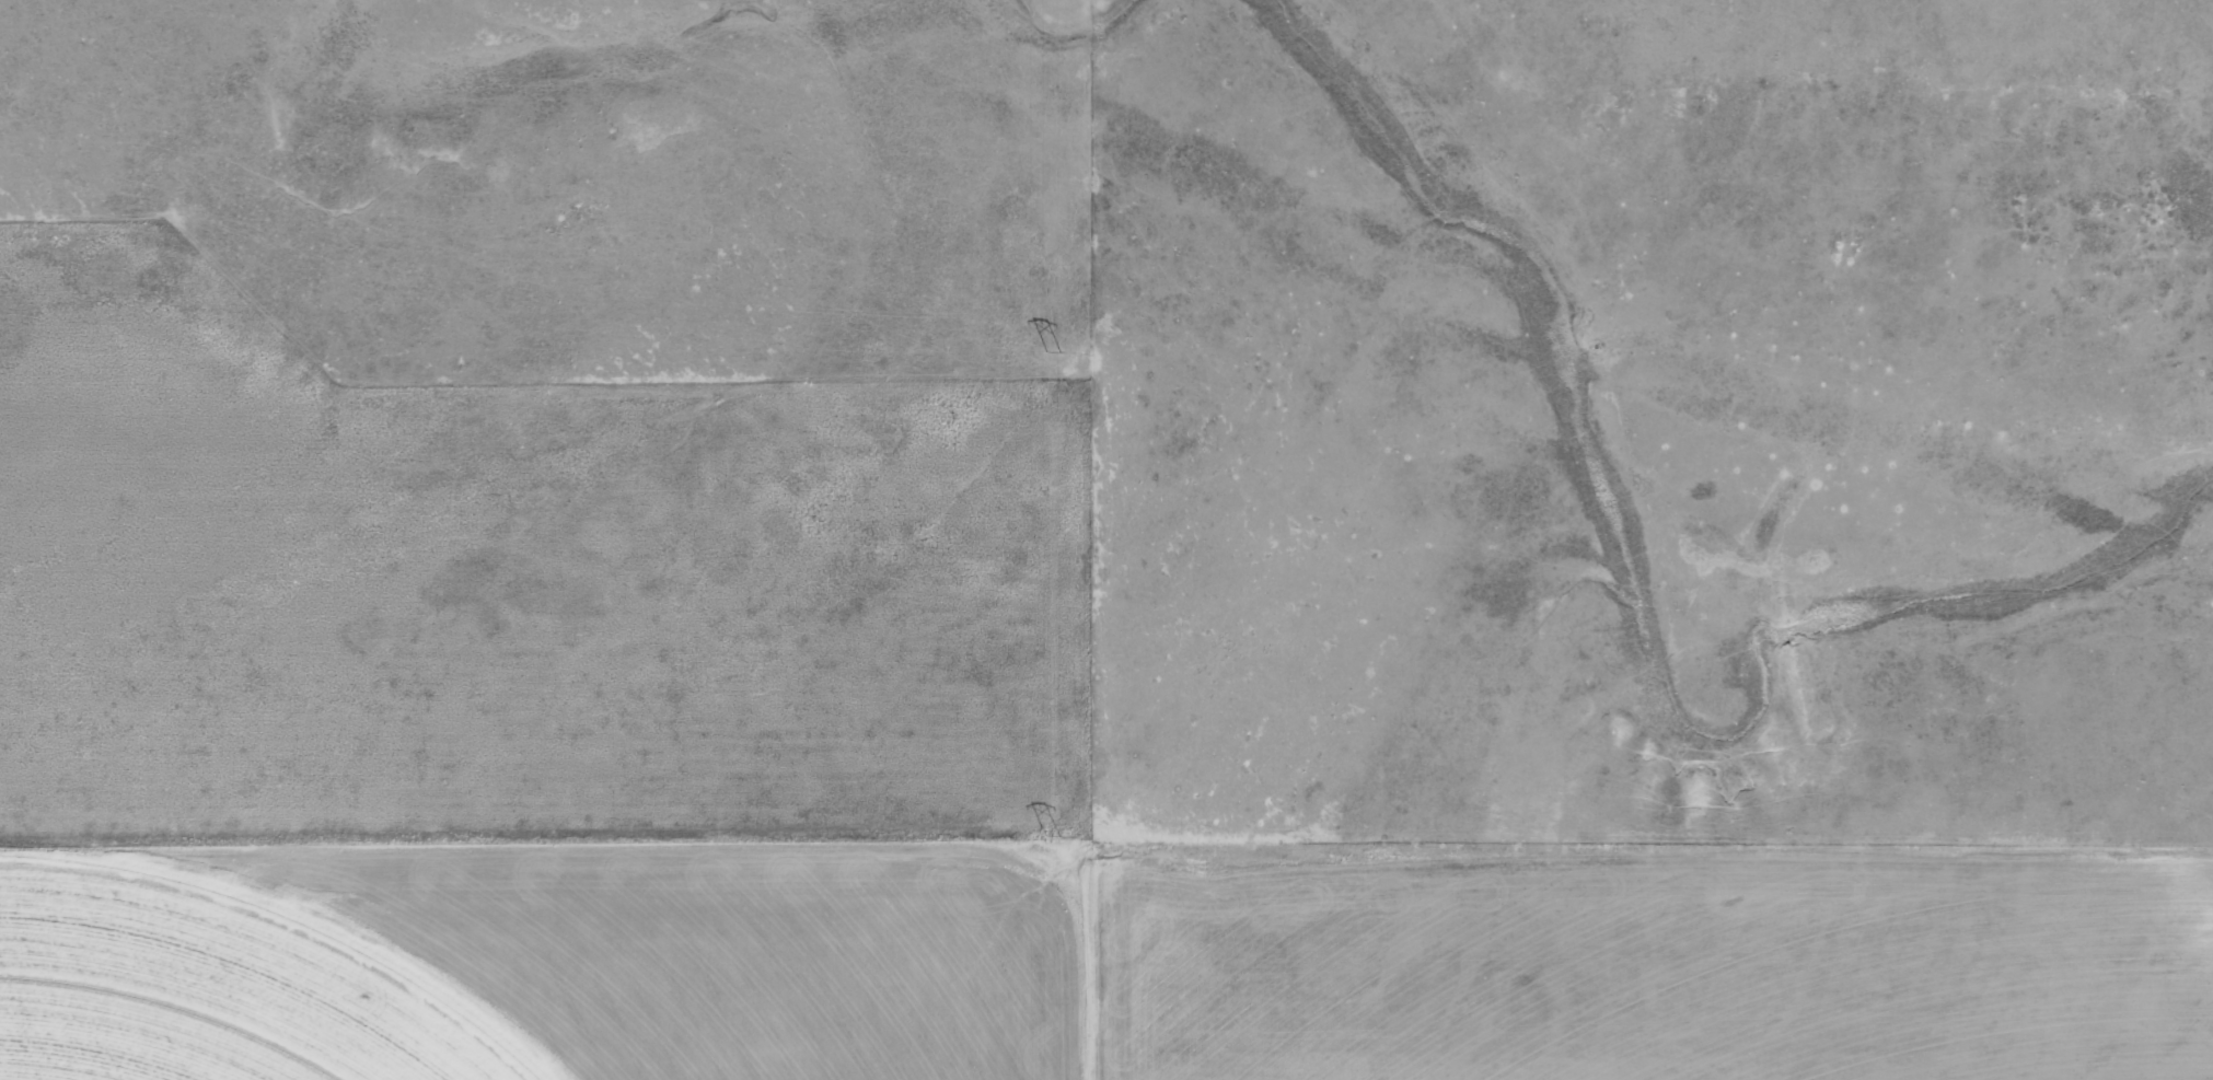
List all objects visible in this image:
power tower: (1052, 353)
road: (1081, 539)
power tower: (1051, 837)

